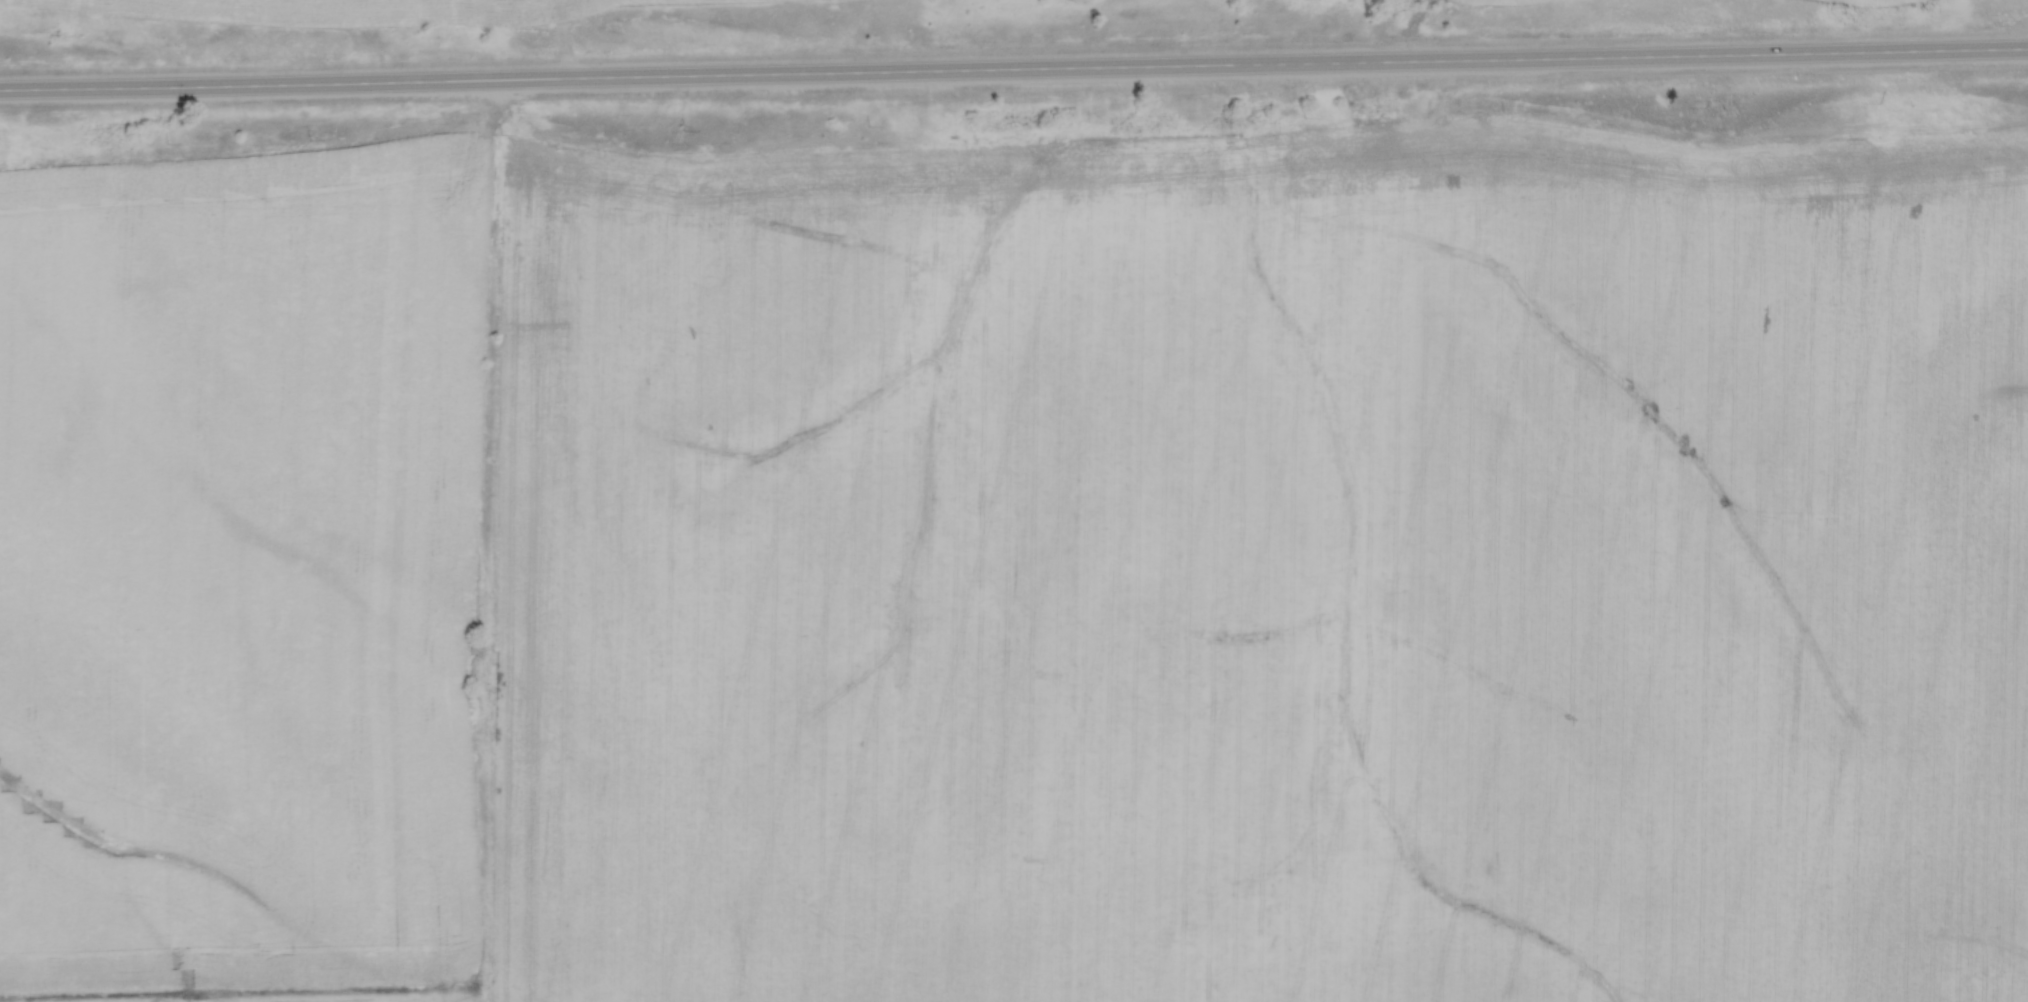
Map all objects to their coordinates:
crop: (1879, 2)
road: (1014, 69)

